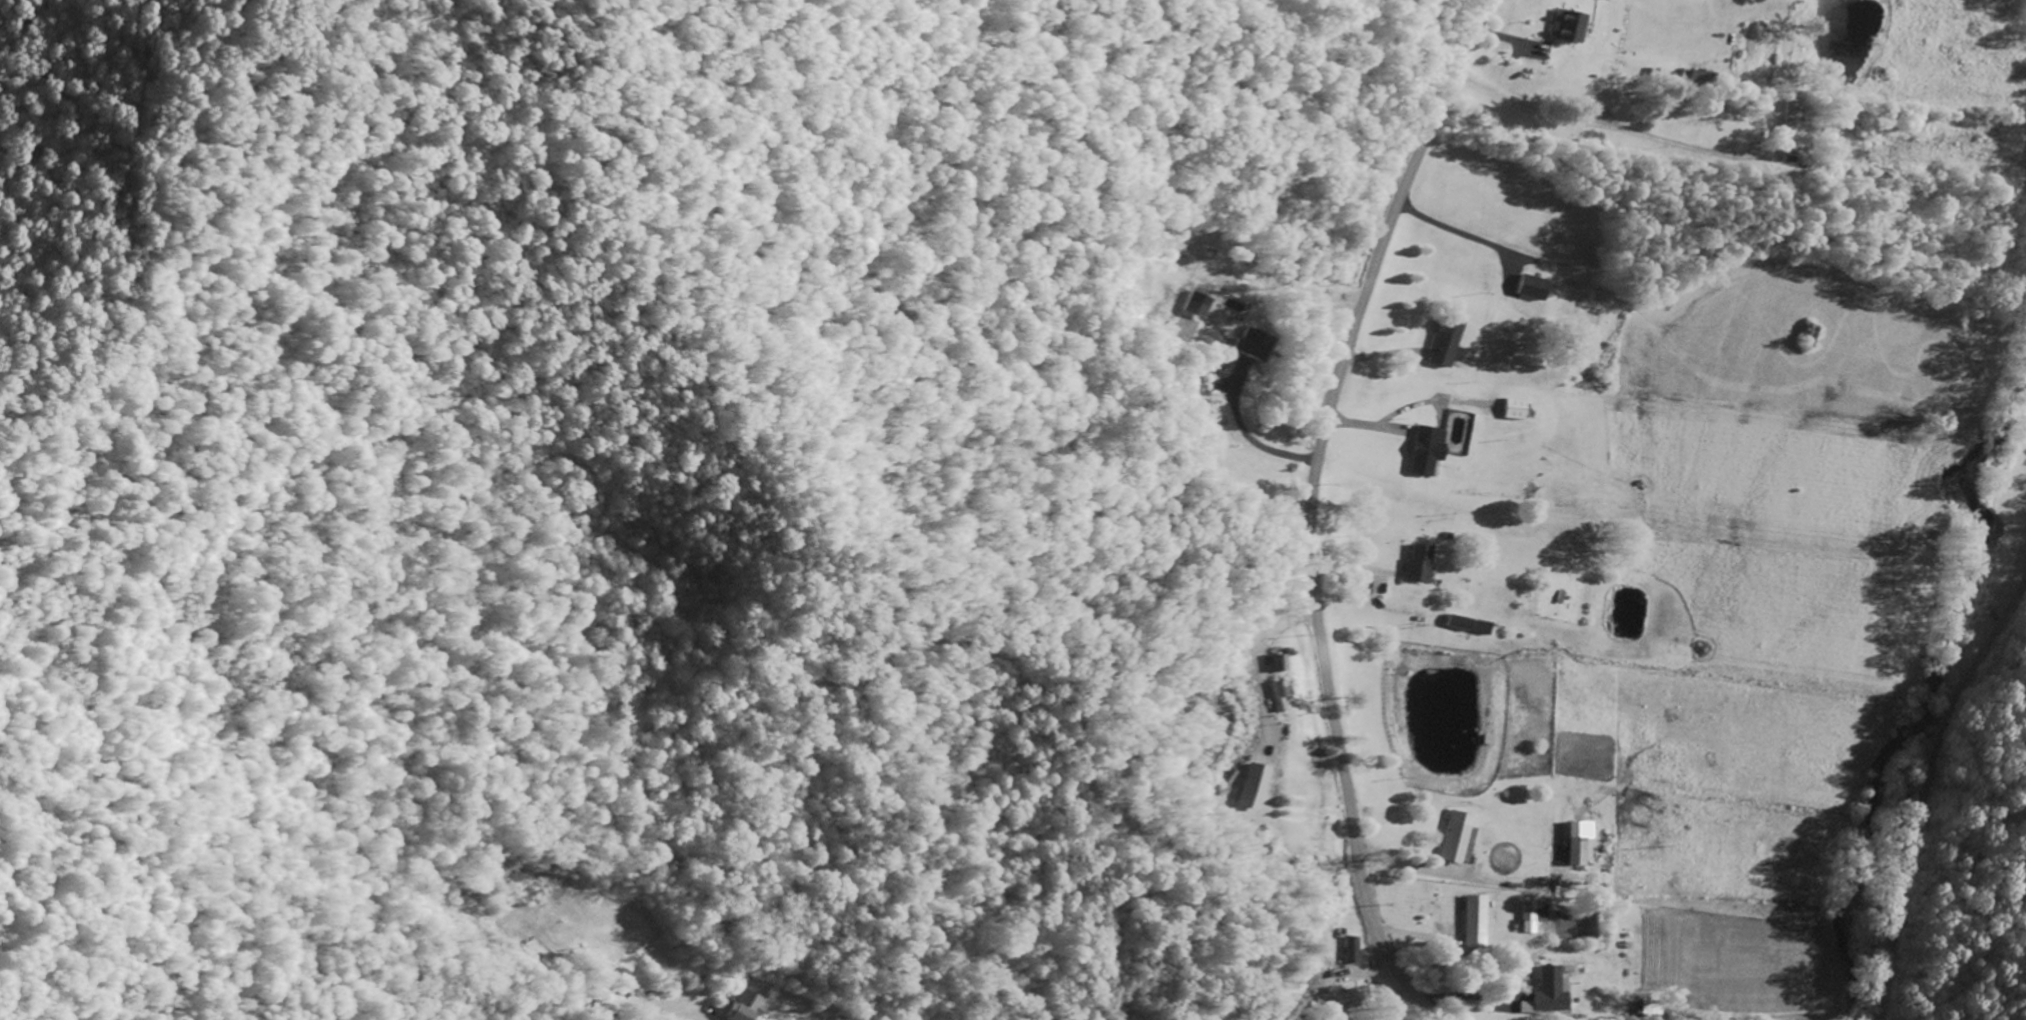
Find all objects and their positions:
building: (1568, 27)
building: (1700, 75)
building: (1793, 121)
road: (1612, 125)
building: (1535, 288)
building: (1201, 305)
building: (1189, 329)
building: (1449, 343)
building: (1254, 345)
building: (1518, 409)
building: (1428, 451)
road: (1311, 508)
building: (1419, 564)
building: (1470, 625)
building: (1281, 664)
building: (1283, 695)
building: (1256, 787)
road: (1927, 792)
building: (1461, 838)
building: (1580, 841)
building: (1535, 911)
building: (1478, 922)
building: (1356, 949)
building: (1576, 963)
road: (1386, 982)
building: (1550, 991)
building: (1343, 999)
building: (744, 1007)

